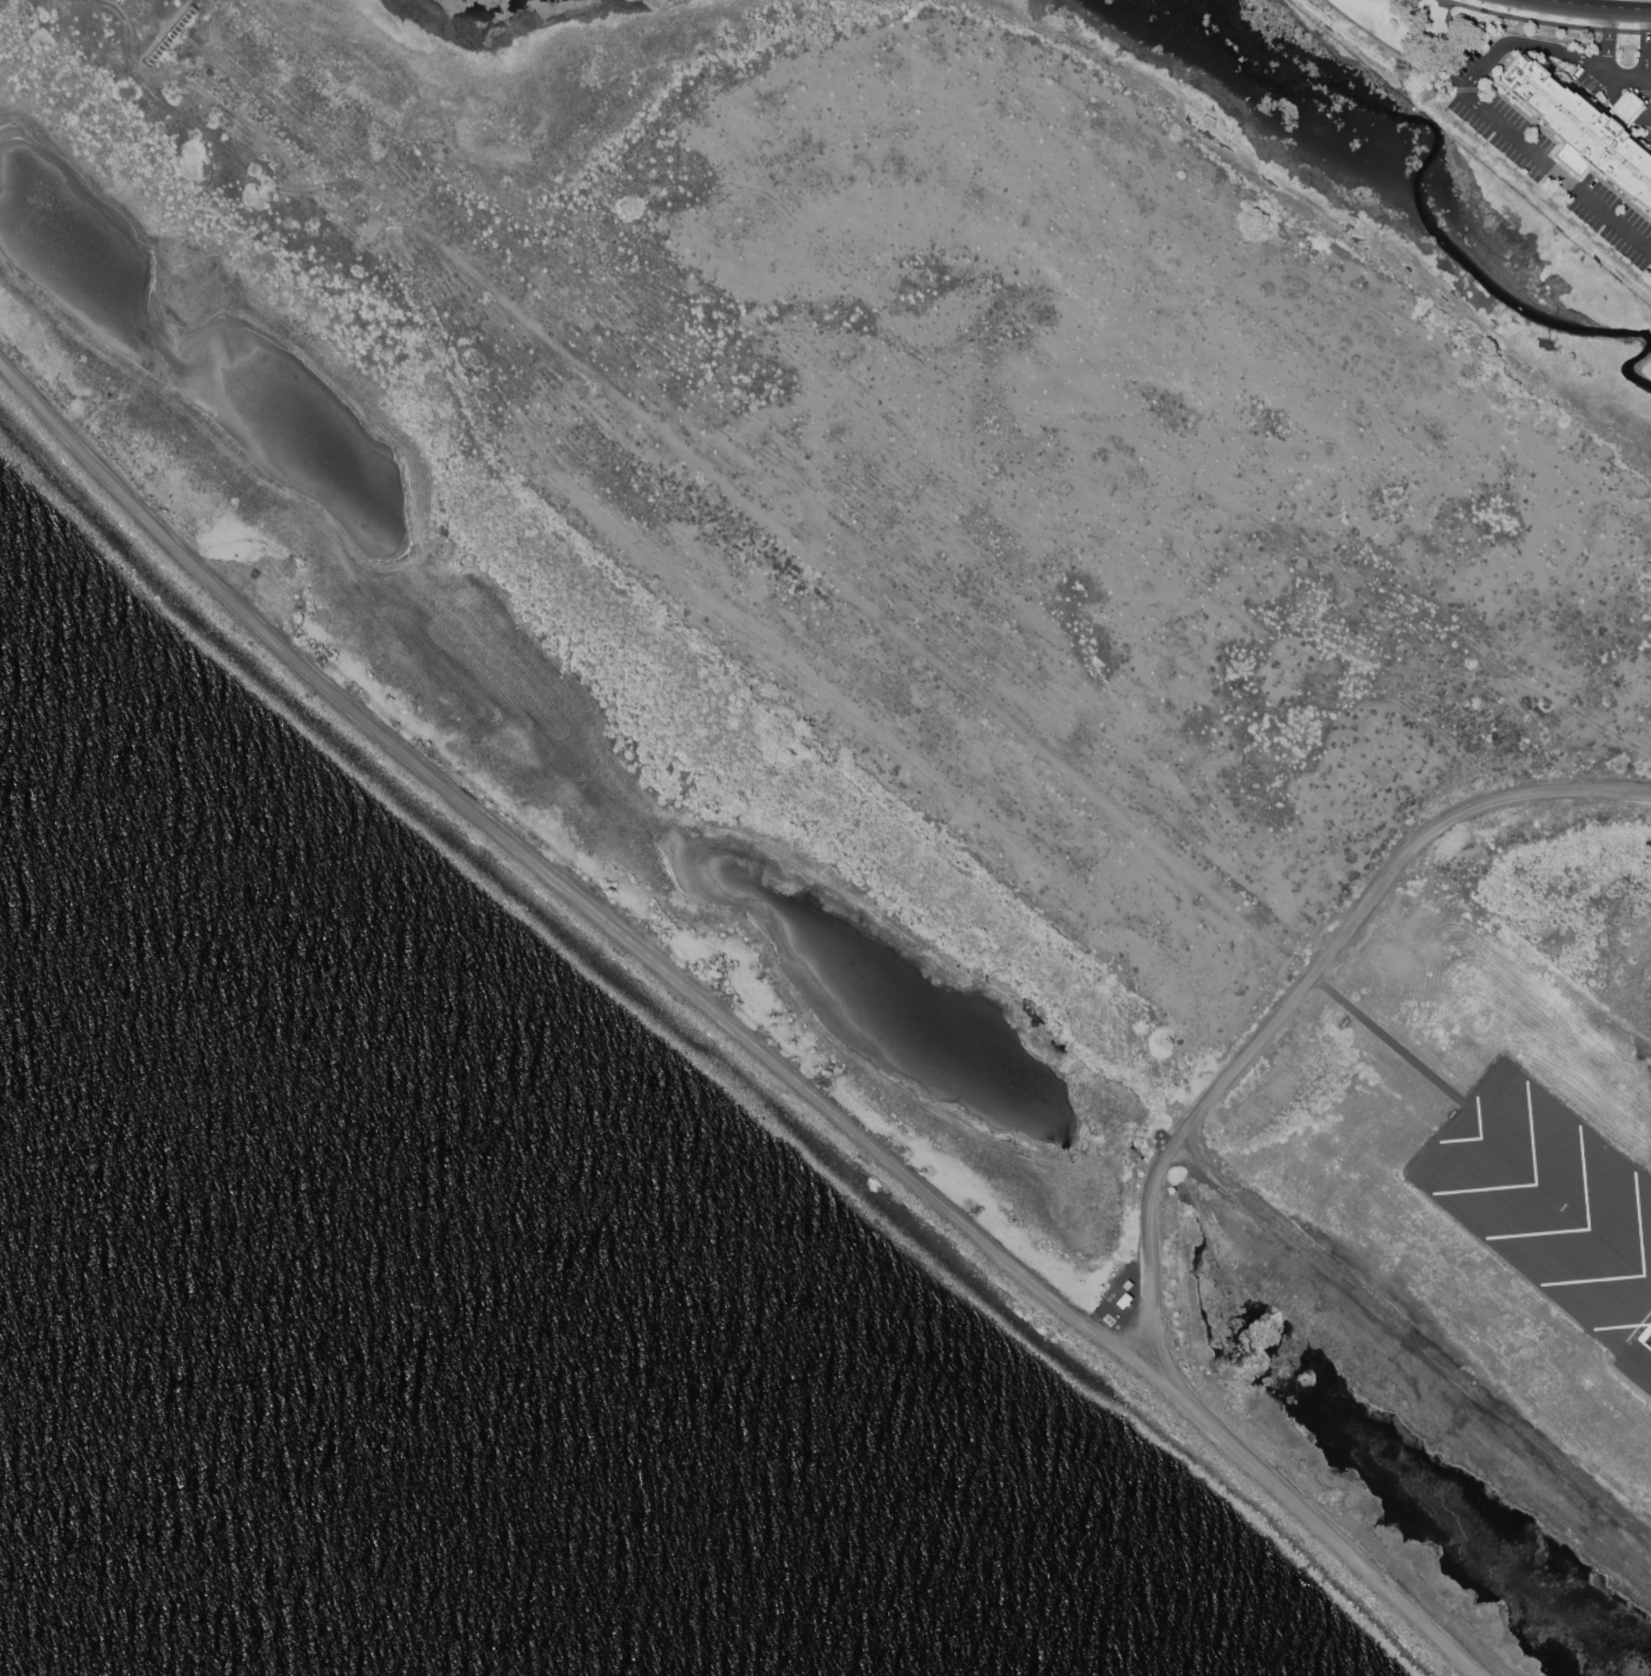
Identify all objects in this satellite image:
road: (1586, 8)
road: (1548, 21)
park: (1401, 35)
road: (1548, 36)
road: (1607, 40)
road: (1647, 49)
road: (1406, 52)
road: (1619, 78)
road: (1646, 97)
road: (1498, 122)
building: (1582, 128)
airport: (957, 677)

